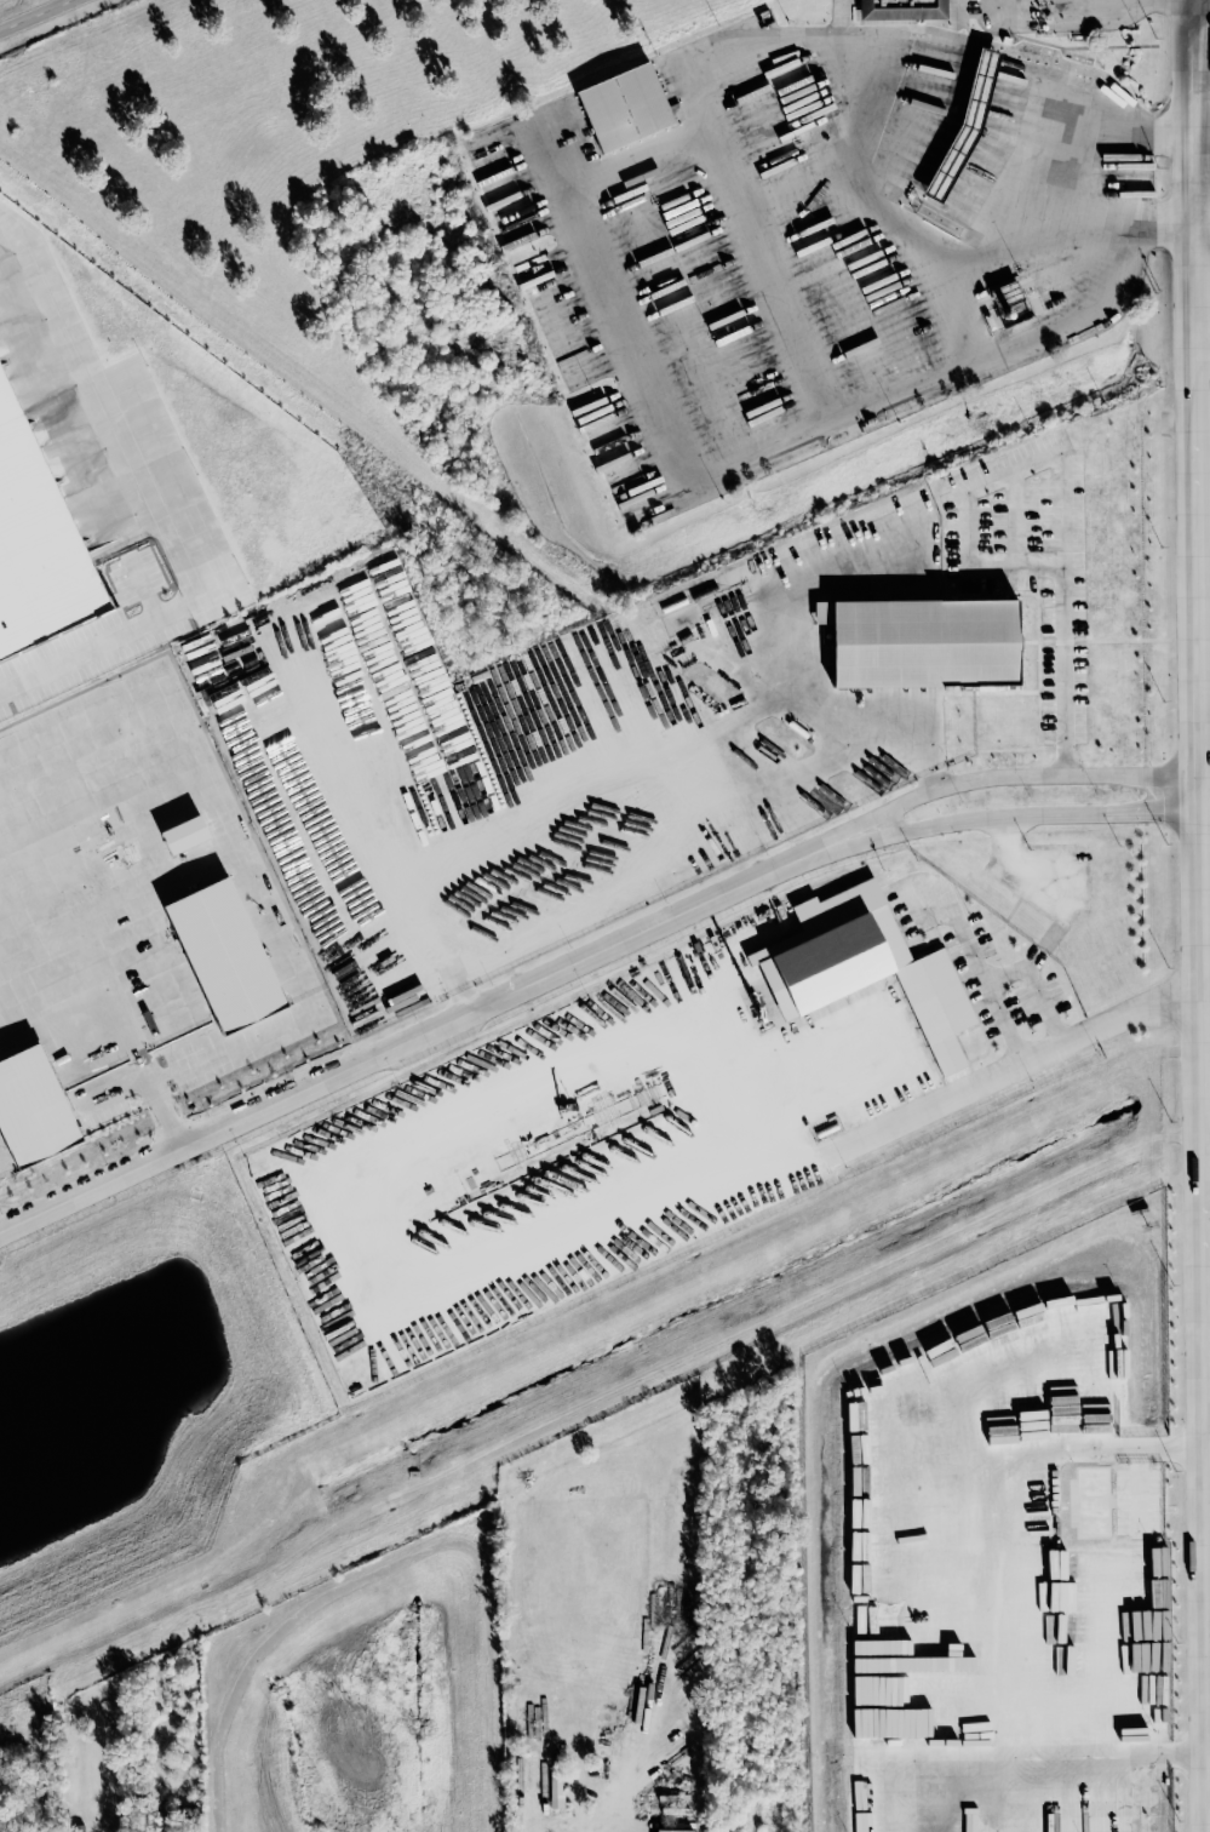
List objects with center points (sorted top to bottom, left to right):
building: (901, 10)
road: (34, 15)
road: (1197, 65)
road: (1203, 76)
road: (980, 85)
building: (624, 105)
building: (963, 125)
gas station: (963, 125)
road: (1129, 126)
road: (1050, 139)
road: (860, 187)
road: (1097, 228)
road: (1204, 259)
road: (773, 276)
road: (612, 317)
road: (1065, 317)
road: (1204, 354)
road: (1056, 479)
road: (157, 505)
building: (38, 542)
building: (922, 641)
road: (843, 729)
road: (641, 768)
road: (1206, 773)
road: (990, 775)
road: (1206, 809)
road: (997, 817)
road: (1063, 908)
building: (864, 966)
road: (977, 968)
road: (1205, 981)
road: (394, 1047)
road: (1011, 1066)
building: (33, 1109)
road: (1078, 1450)
building: (1045, 1493)
road: (613, 1684)
road: (1019, 1764)
building: (556, 1791)
building: (78, 1827)
building: (672, 1830)

